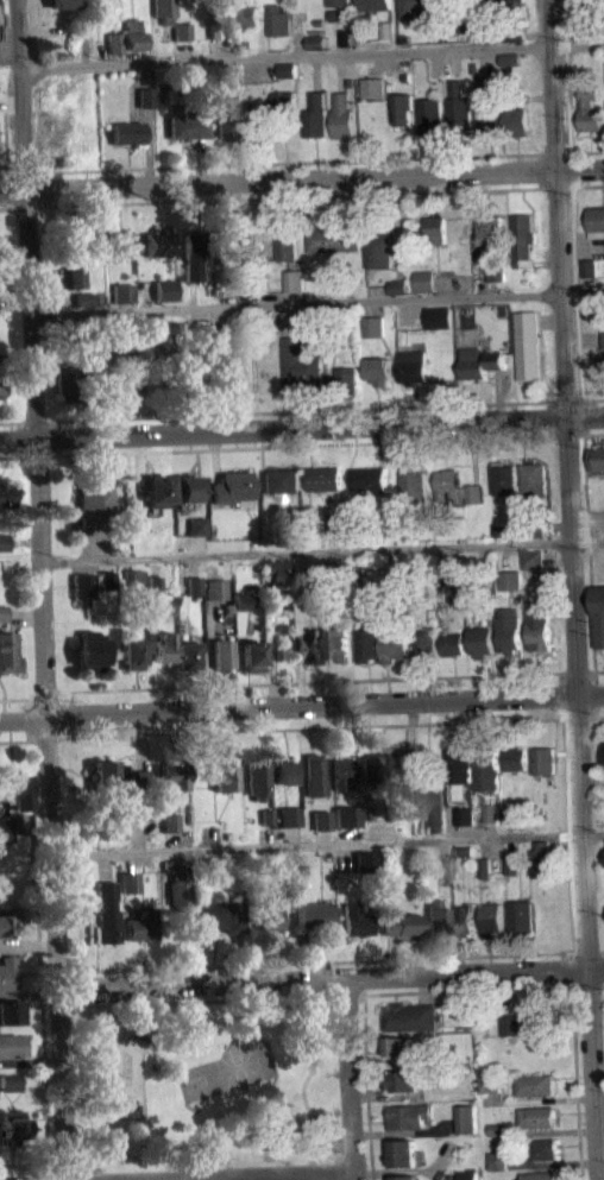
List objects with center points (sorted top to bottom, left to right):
building: (483, 0)
building: (511, 1)
building: (64, 2)
building: (338, 2)
building: (219, 4)
building: (375, 5)
building: (593, 5)
building: (416, 7)
building: (165, 10)
building: (252, 12)
building: (2, 13)
building: (102, 13)
building: (336, 15)
building: (278, 19)
building: (319, 23)
building: (480, 27)
road: (55, 29)
building: (215, 29)
building: (183, 30)
building: (133, 33)
building: (515, 33)
road: (297, 36)
building: (183, 38)
building: (115, 40)
building: (315, 40)
road: (482, 42)
building: (245, 44)
road: (215, 48)
road: (184, 49)
building: (315, 50)
road: (313, 55)
building: (510, 58)
building: (510, 67)
building: (476, 68)
building: (287, 69)
building: (287, 77)
building: (372, 87)
building: (145, 96)
building: (284, 103)
building: (487, 103)
building: (402, 108)
building: (458, 108)
building: (587, 111)
building: (315, 115)
building: (429, 115)
building: (342, 116)
building: (515, 120)
building: (187, 124)
building: (231, 126)
building: (127, 132)
road: (6, 139)
road: (578, 151)
road: (290, 163)
road: (17, 172)
road: (302, 177)
road: (590, 185)
road: (558, 188)
road: (8, 194)
road: (273, 198)
building: (594, 221)
building: (489, 226)
building: (436, 228)
building: (94, 231)
building: (243, 232)
building: (333, 238)
building: (522, 238)
building: (157, 241)
building: (118, 242)
building: (287, 244)
building: (379, 250)
building: (194, 253)
building: (587, 267)
building: (73, 271)
building: (495, 271)
building: (233, 279)
building: (295, 280)
building: (424, 280)
building: (397, 286)
building: (164, 289)
building: (122, 292)
building: (248, 294)
building: (398, 294)
building: (84, 298)
road: (316, 302)
building: (84, 305)
building: (438, 317)
building: (375, 326)
building: (313, 327)
building: (202, 334)
building: (602, 337)
building: (100, 343)
building: (527, 345)
building: (301, 362)
building: (478, 362)
building: (411, 364)
building: (603, 364)
building: (65, 370)
building: (378, 370)
building: (130, 378)
building: (350, 379)
building: (97, 381)
building: (1, 385)
building: (182, 386)
road: (585, 398)
road: (580, 406)
road: (292, 410)
road: (301, 425)
road: (592, 433)
road: (574, 434)
road: (19, 440)
road: (294, 446)
building: (597, 458)
building: (323, 478)
building: (502, 478)
building: (531, 478)
building: (369, 479)
building: (281, 482)
building: (411, 482)
building: (185, 487)
building: (233, 487)
building: (454, 487)
building: (157, 490)
building: (6, 493)
building: (95, 503)
road: (587, 517)
building: (334, 522)
building: (196, 525)
building: (528, 528)
building: (497, 531)
building: (4, 541)
road: (323, 550)
building: (533, 559)
building: (327, 572)
building: (5, 573)
building: (278, 573)
building: (307, 573)
road: (589, 574)
building: (133, 575)
building: (108, 579)
building: (394, 579)
building: (510, 580)
building: (134, 582)
building: (307, 582)
building: (155, 583)
building: (195, 585)
building: (83, 587)
building: (107, 588)
building: (215, 588)
road: (44, 589)
building: (395, 589)
road: (573, 589)
building: (241, 599)
building: (229, 608)
building: (4, 612)
building: (598, 616)
building: (540, 627)
building: (510, 630)
building: (482, 641)
building: (426, 642)
building: (336, 643)
building: (453, 643)
building: (308, 644)
building: (369, 644)
building: (395, 645)
building: (164, 646)
building: (7, 651)
building: (92, 651)
building: (133, 651)
building: (189, 652)
building: (222, 652)
building: (252, 655)
road: (598, 670)
road: (320, 681)
road: (565, 695)
road: (301, 702)
road: (598, 718)
road: (312, 726)
road: (23, 739)
building: (603, 753)
building: (515, 759)
building: (543, 759)
building: (397, 763)
building: (460, 764)
building: (371, 768)
building: (486, 768)
building: (282, 771)
building: (341, 771)
building: (106, 774)
building: (172, 775)
building: (313, 775)
building: (222, 777)
building: (256, 777)
building: (140, 778)
building: (13, 788)
building: (410, 793)
building: (433, 803)
building: (141, 810)
building: (364, 812)
building: (493, 813)
building: (511, 814)
building: (264, 815)
building: (287, 815)
building: (344, 815)
building: (466, 815)
building: (319, 819)
building: (168, 821)
building: (106, 822)
building: (512, 822)
building: (6, 827)
building: (107, 837)
road: (328, 844)
building: (465, 850)
building: (546, 856)
building: (466, 859)
building: (166, 863)
building: (514, 864)
building: (487, 867)
building: (441, 869)
building: (127, 882)
building: (177, 891)
building: (105, 913)
building: (312, 914)
building: (218, 915)
building: (268, 919)
building: (435, 919)
building: (465, 919)
building: (495, 919)
building: (523, 919)
building: (354, 920)
building: (7, 923)
building: (399, 923)
building: (139, 926)
road: (331, 960)
building: (7, 972)
road: (331, 976)
road: (587, 985)
road: (565, 986)
road: (203, 998)
building: (11, 1010)
building: (410, 1016)
building: (540, 1021)
building: (511, 1024)
building: (11, 1045)
building: (398, 1045)
road: (43, 1053)
building: (401, 1054)
road: (366, 1077)
road: (350, 1078)
park: (206, 1079)
building: (17, 1080)
building: (403, 1080)
building: (491, 1081)
building: (536, 1085)
building: (15, 1088)
road: (600, 1102)
building: (409, 1116)
building: (539, 1117)
building: (467, 1118)
building: (13, 1127)
building: (498, 1129)
road: (201, 1134)
building: (543, 1148)
road: (332, 1154)
building: (403, 1154)
road: (87, 1160)
building: (498, 1160)
road: (43, 1163)
road: (336, 1167)
road: (244, 1175)
building: (468, 1175)
building: (543, 1175)
building: (404, 1178)

